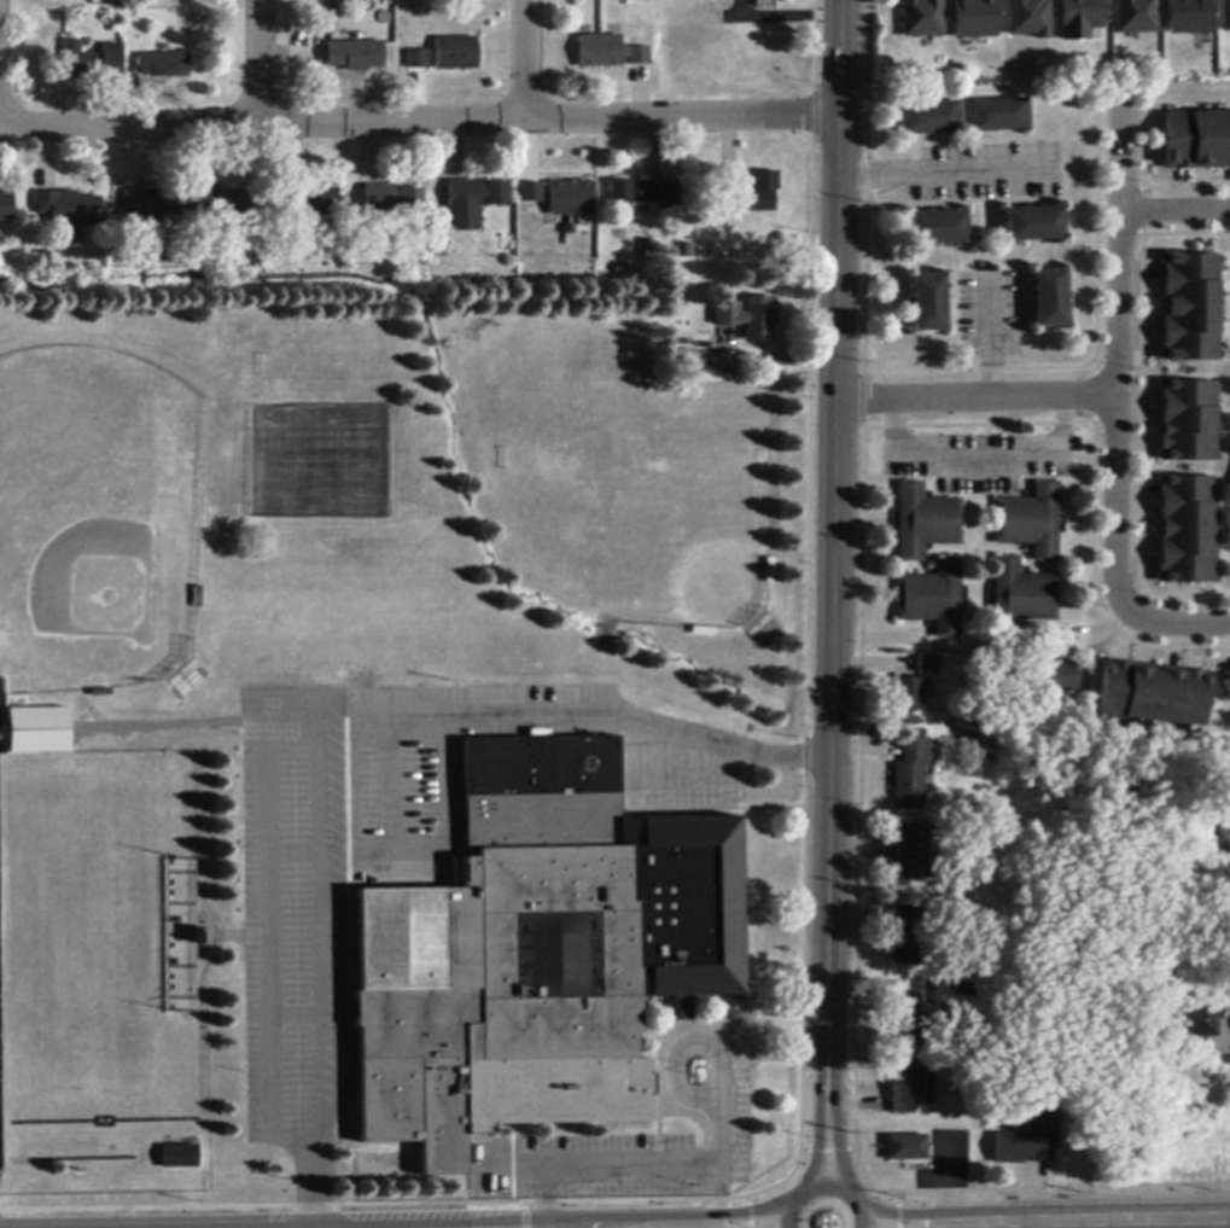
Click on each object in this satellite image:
building: (1133, 16)
building: (1187, 16)
building: (920, 17)
building: (1224, 17)
building: (973, 18)
building: (1026, 18)
building: (1079, 19)
building: (602, 52)
building: (457, 54)
building: (355, 56)
building: (641, 57)
road: (529, 59)
building: (419, 60)
building: (92, 62)
road: (261, 62)
building: (164, 65)
building: (1002, 115)
building: (932, 118)
road: (416, 121)
building: (1197, 141)
road: (944, 171)
building: (532, 193)
building: (647, 193)
building: (758, 194)
building: (570, 199)
building: (309, 200)
building: (391, 200)
building: (473, 202)
building: (151, 204)
building: (228, 204)
building: (5, 206)
building: (68, 209)
road: (1174, 210)
building: (1034, 225)
building: (938, 228)
building: (648, 248)
building: (1049, 298)
building: (928, 303)
building: (1190, 308)
building: (751, 318)
road: (986, 336)
road: (1113, 365)
road: (972, 398)
building: (1188, 421)
road: (978, 453)
building: (1229, 483)
park: (98, 510)
building: (1031, 522)
building: (926, 523)
park: (676, 524)
building: (1187, 530)
building: (769, 571)
road: (832, 594)
building: (1021, 598)
building: (932, 599)
road: (1185, 623)
building: (704, 632)
building: (927, 665)
building: (1060, 677)
building: (1226, 681)
building: (1153, 694)
building: (910, 696)
building: (37, 732)
road: (386, 752)
park: (1098, 761)
building: (911, 775)
building: (913, 851)
building: (196, 937)
building: (905, 937)
building: (538, 953)
building: (966, 990)
building: (917, 993)
building: (1090, 1019)
building: (1191, 1022)
building: (910, 1028)
road: (681, 1052)
building: (910, 1088)
building: (1030, 1141)
building: (907, 1148)
building: (180, 1157)
road: (634, 1163)
road: (823, 1189)
road: (1044, 1221)
road: (1184, 1223)
road: (734, 1227)

